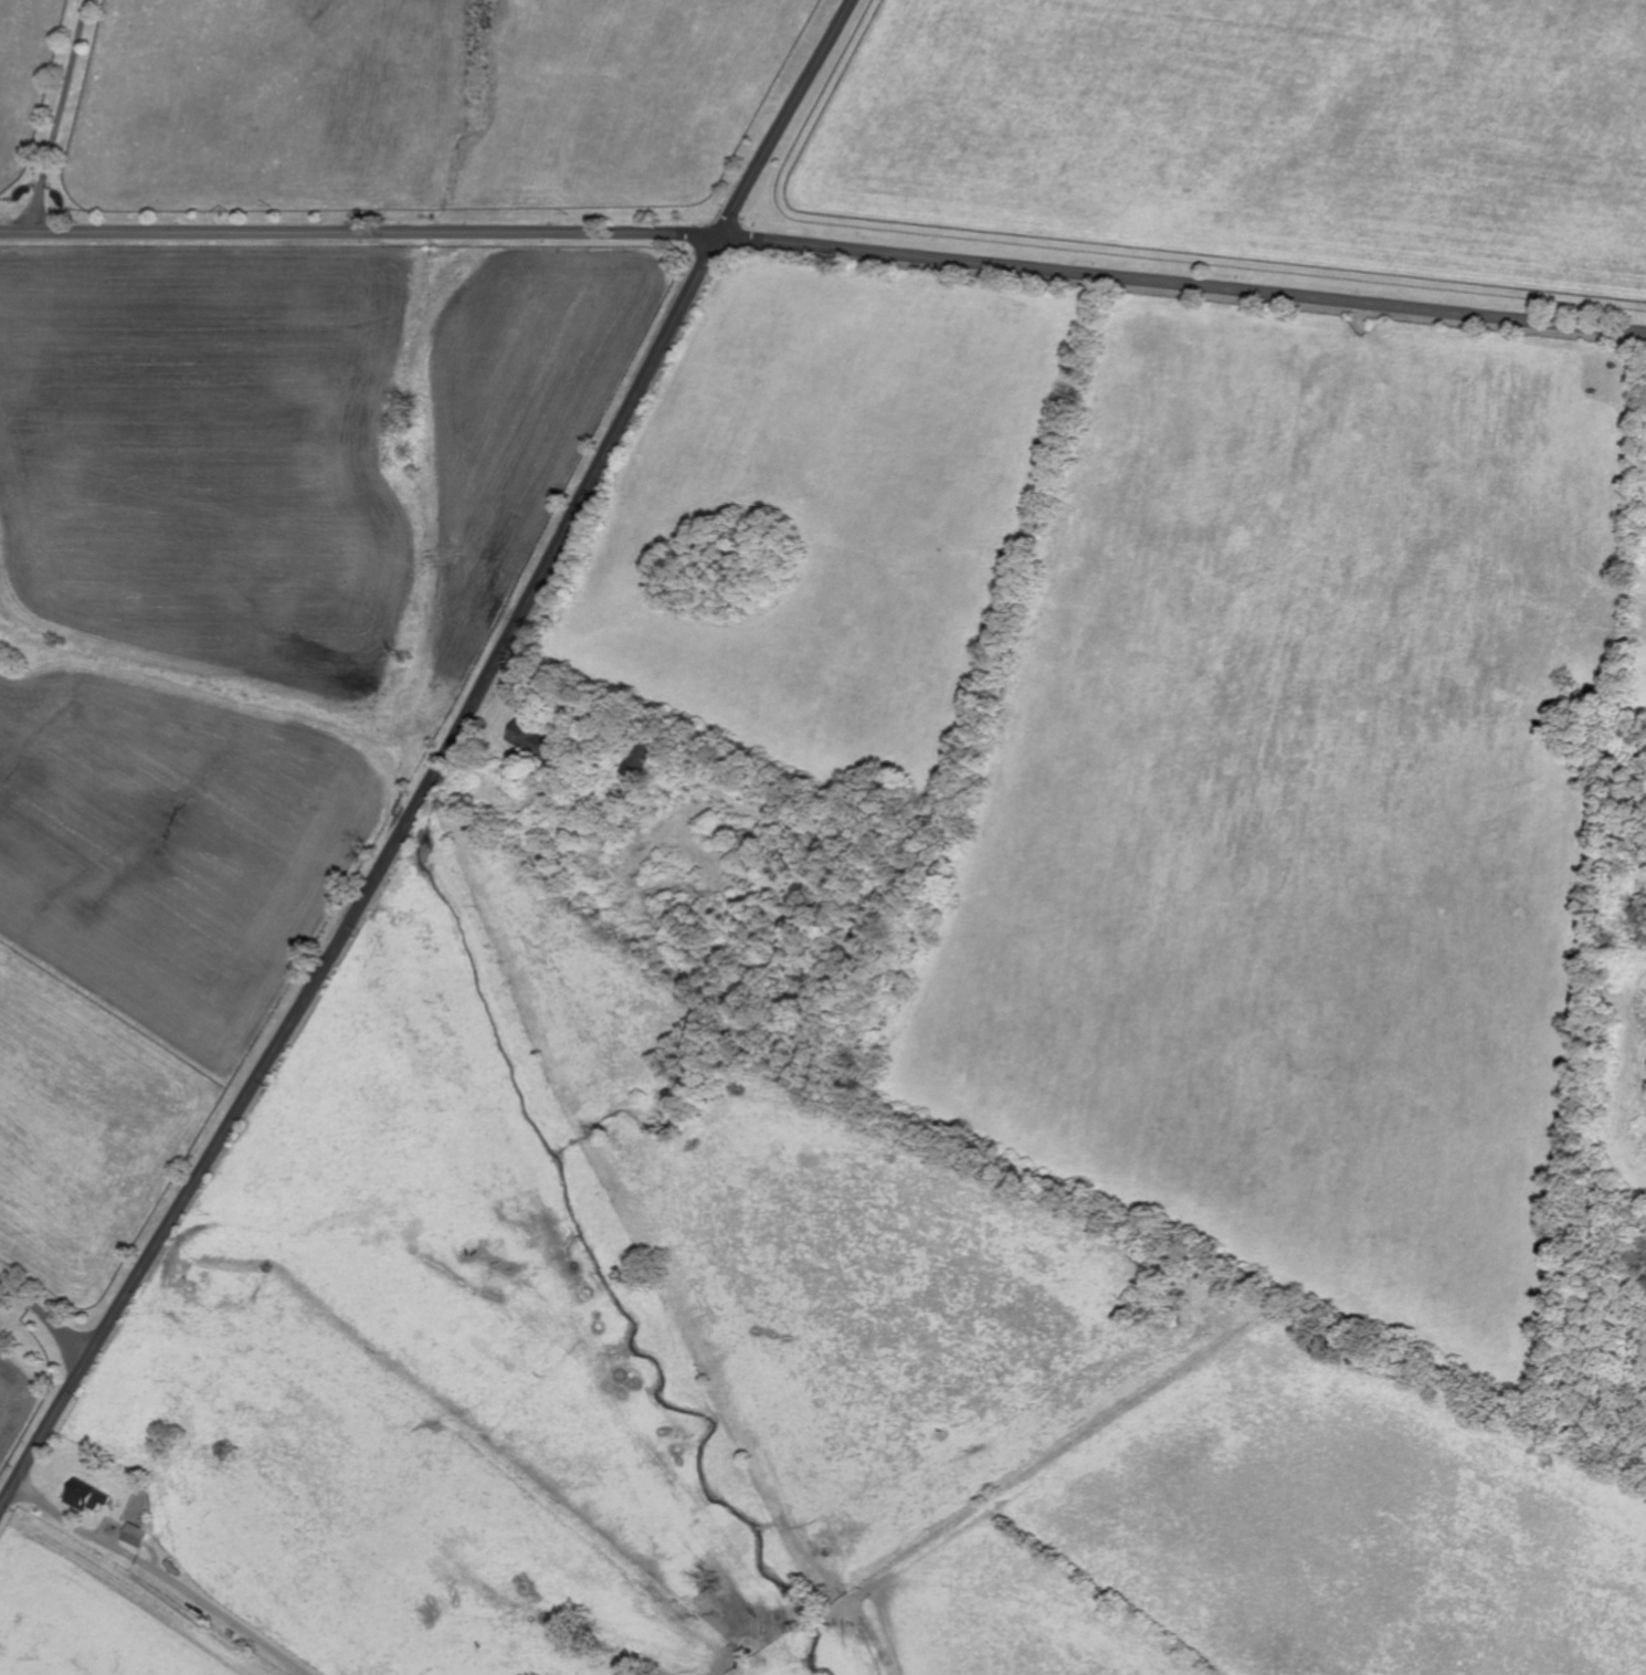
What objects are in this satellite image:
road: (61, 115)
road: (787, 118)
road: (359, 233)
road: (1182, 283)
building: (532, 736)
building: (637, 760)
building: (634, 808)
road: (376, 884)
building: (203, 1286)
road: (45, 1324)
building: (88, 1493)
building: (137, 1532)
road: (168, 1577)

